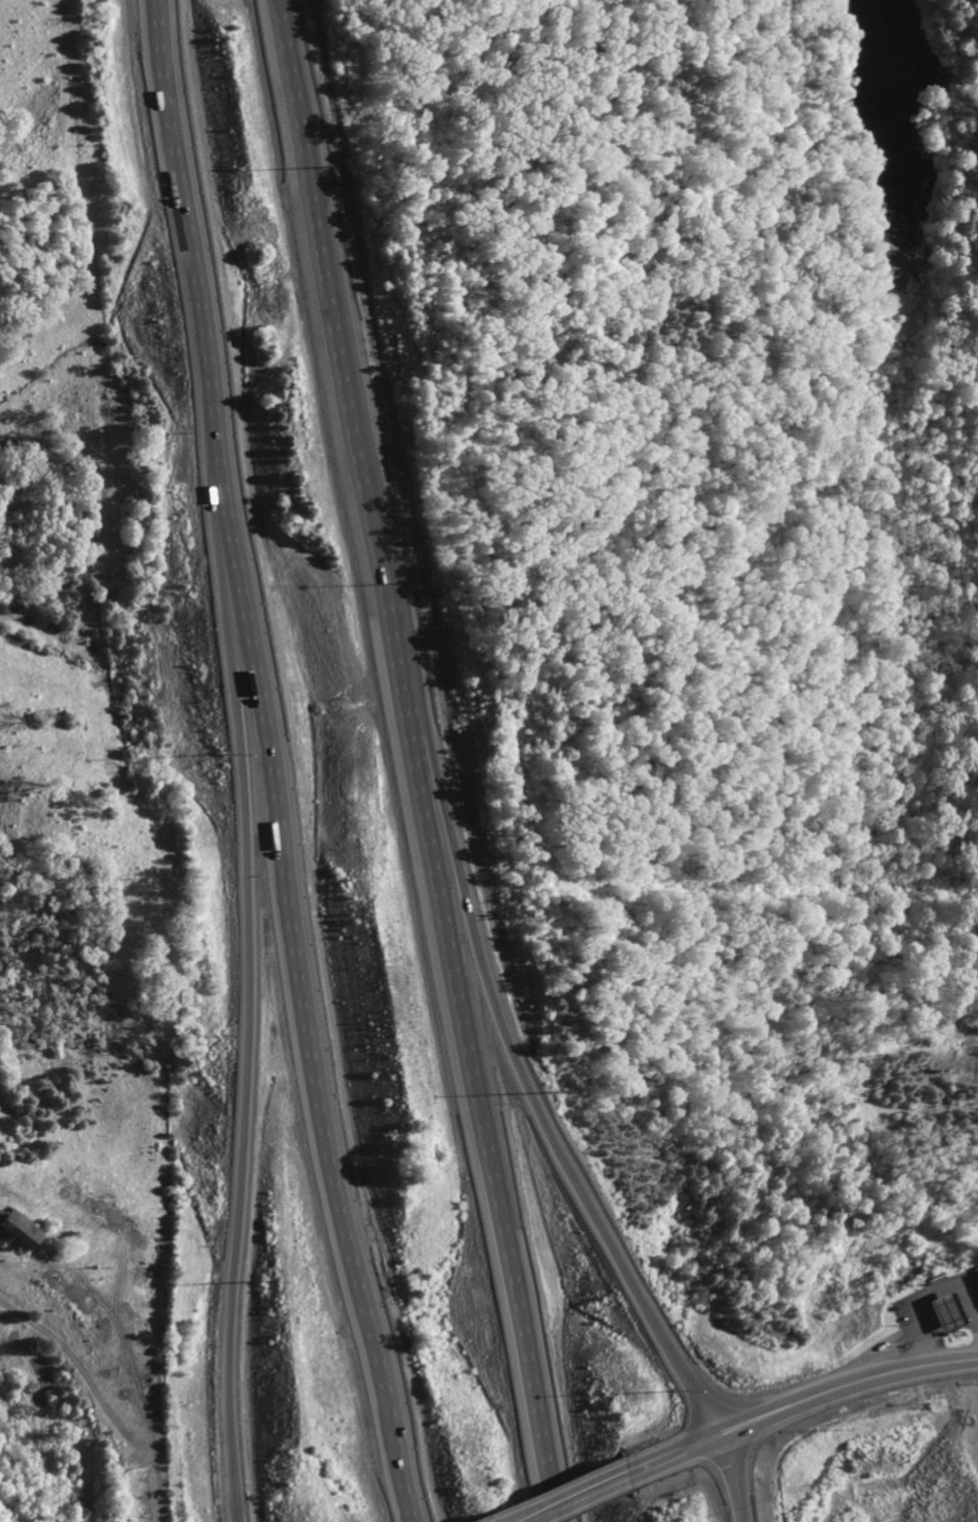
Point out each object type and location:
road: (185, 233)
road: (416, 762)
road: (249, 993)
road: (299, 997)
road: (506, 1037)
building: (12, 1232)
building: (972, 1279)
building: (938, 1310)
gas station: (938, 1310)
road: (102, 1394)
road: (799, 1401)
road: (737, 1476)
road: (574, 1497)
road: (157, 1521)

